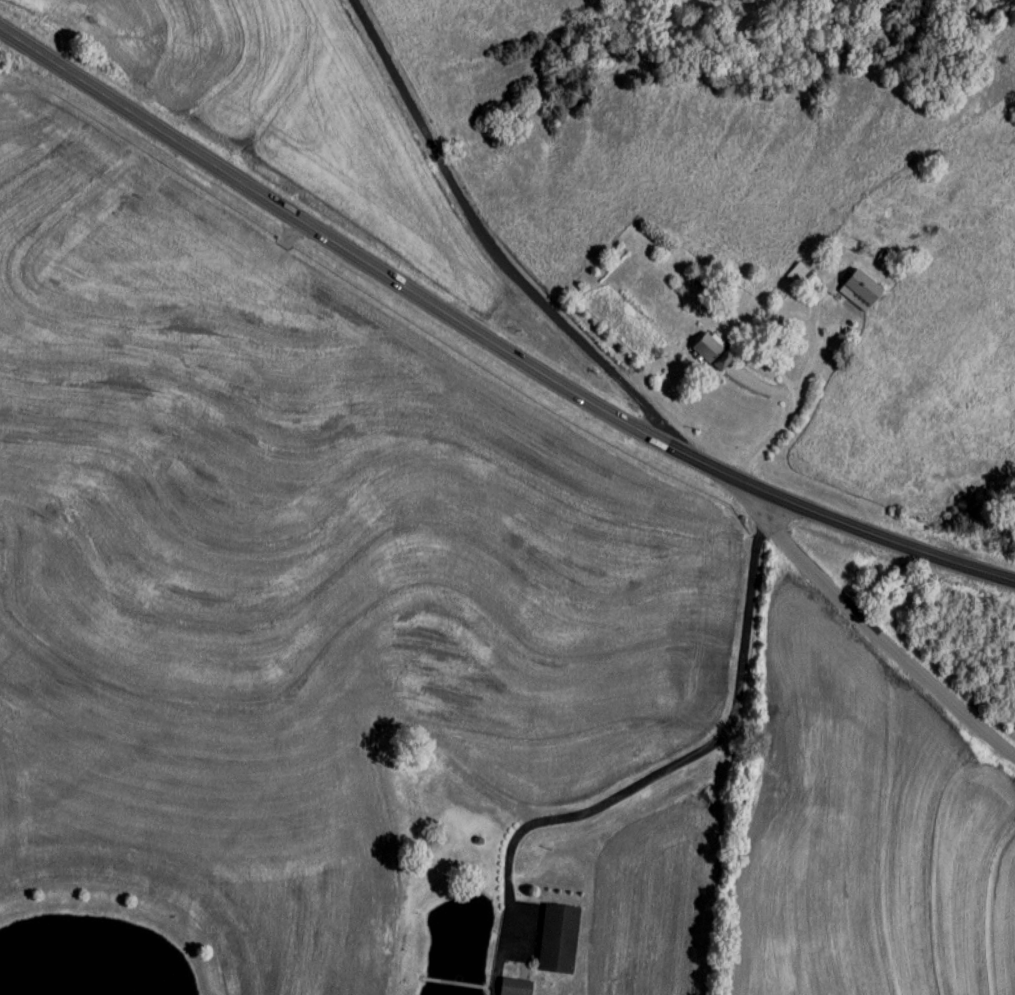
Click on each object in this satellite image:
road: (496, 247)
building: (804, 280)
building: (860, 291)
road: (491, 329)
building: (712, 352)
road: (812, 353)
road: (875, 632)
road: (666, 768)
building: (559, 940)
building: (516, 987)

